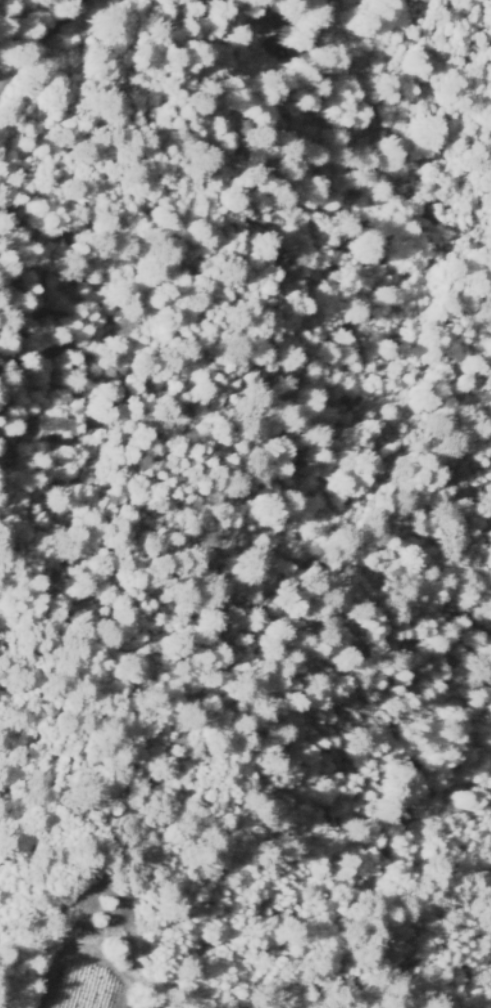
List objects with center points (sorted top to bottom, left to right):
building: (48, 1002)

